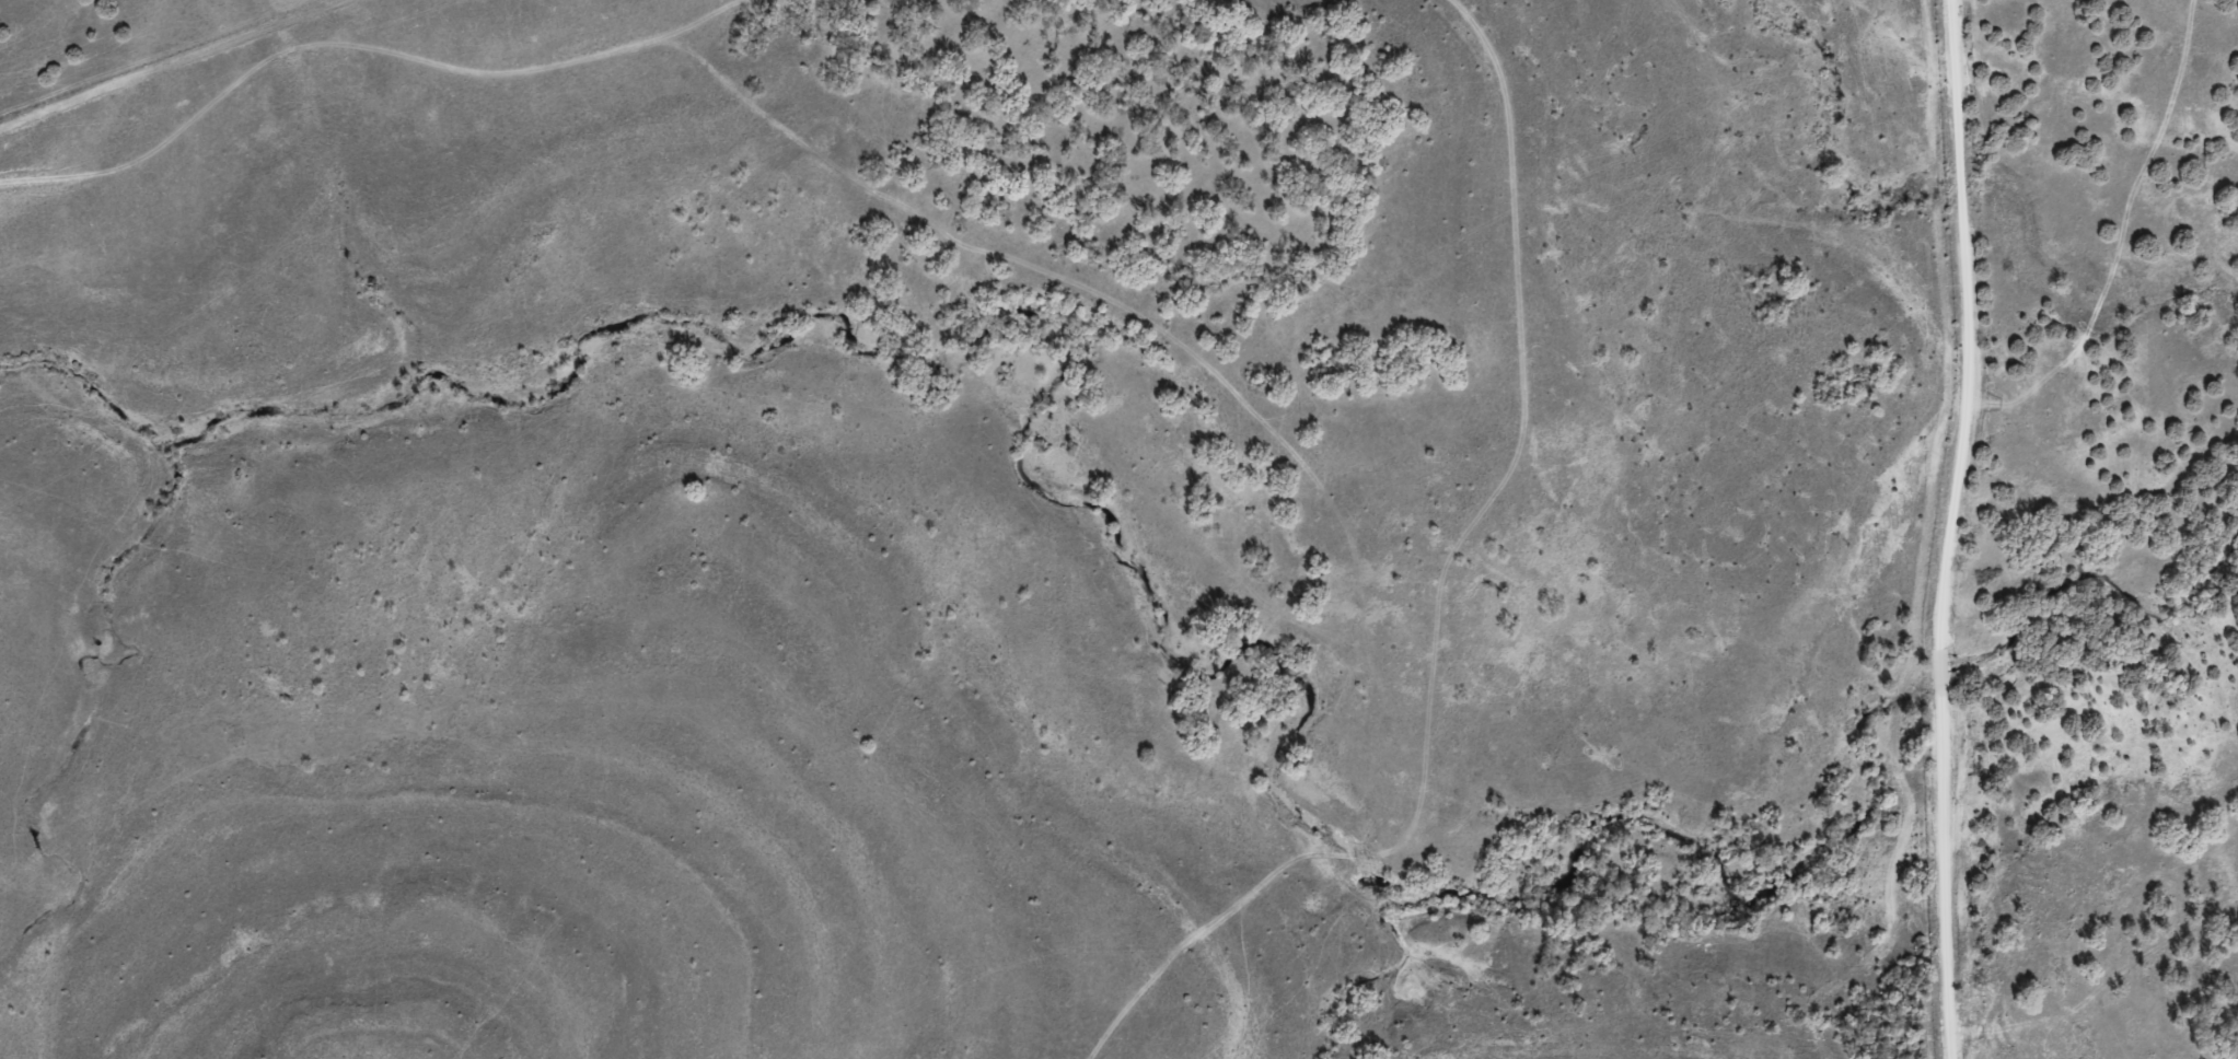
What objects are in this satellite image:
road: (1960, 528)

